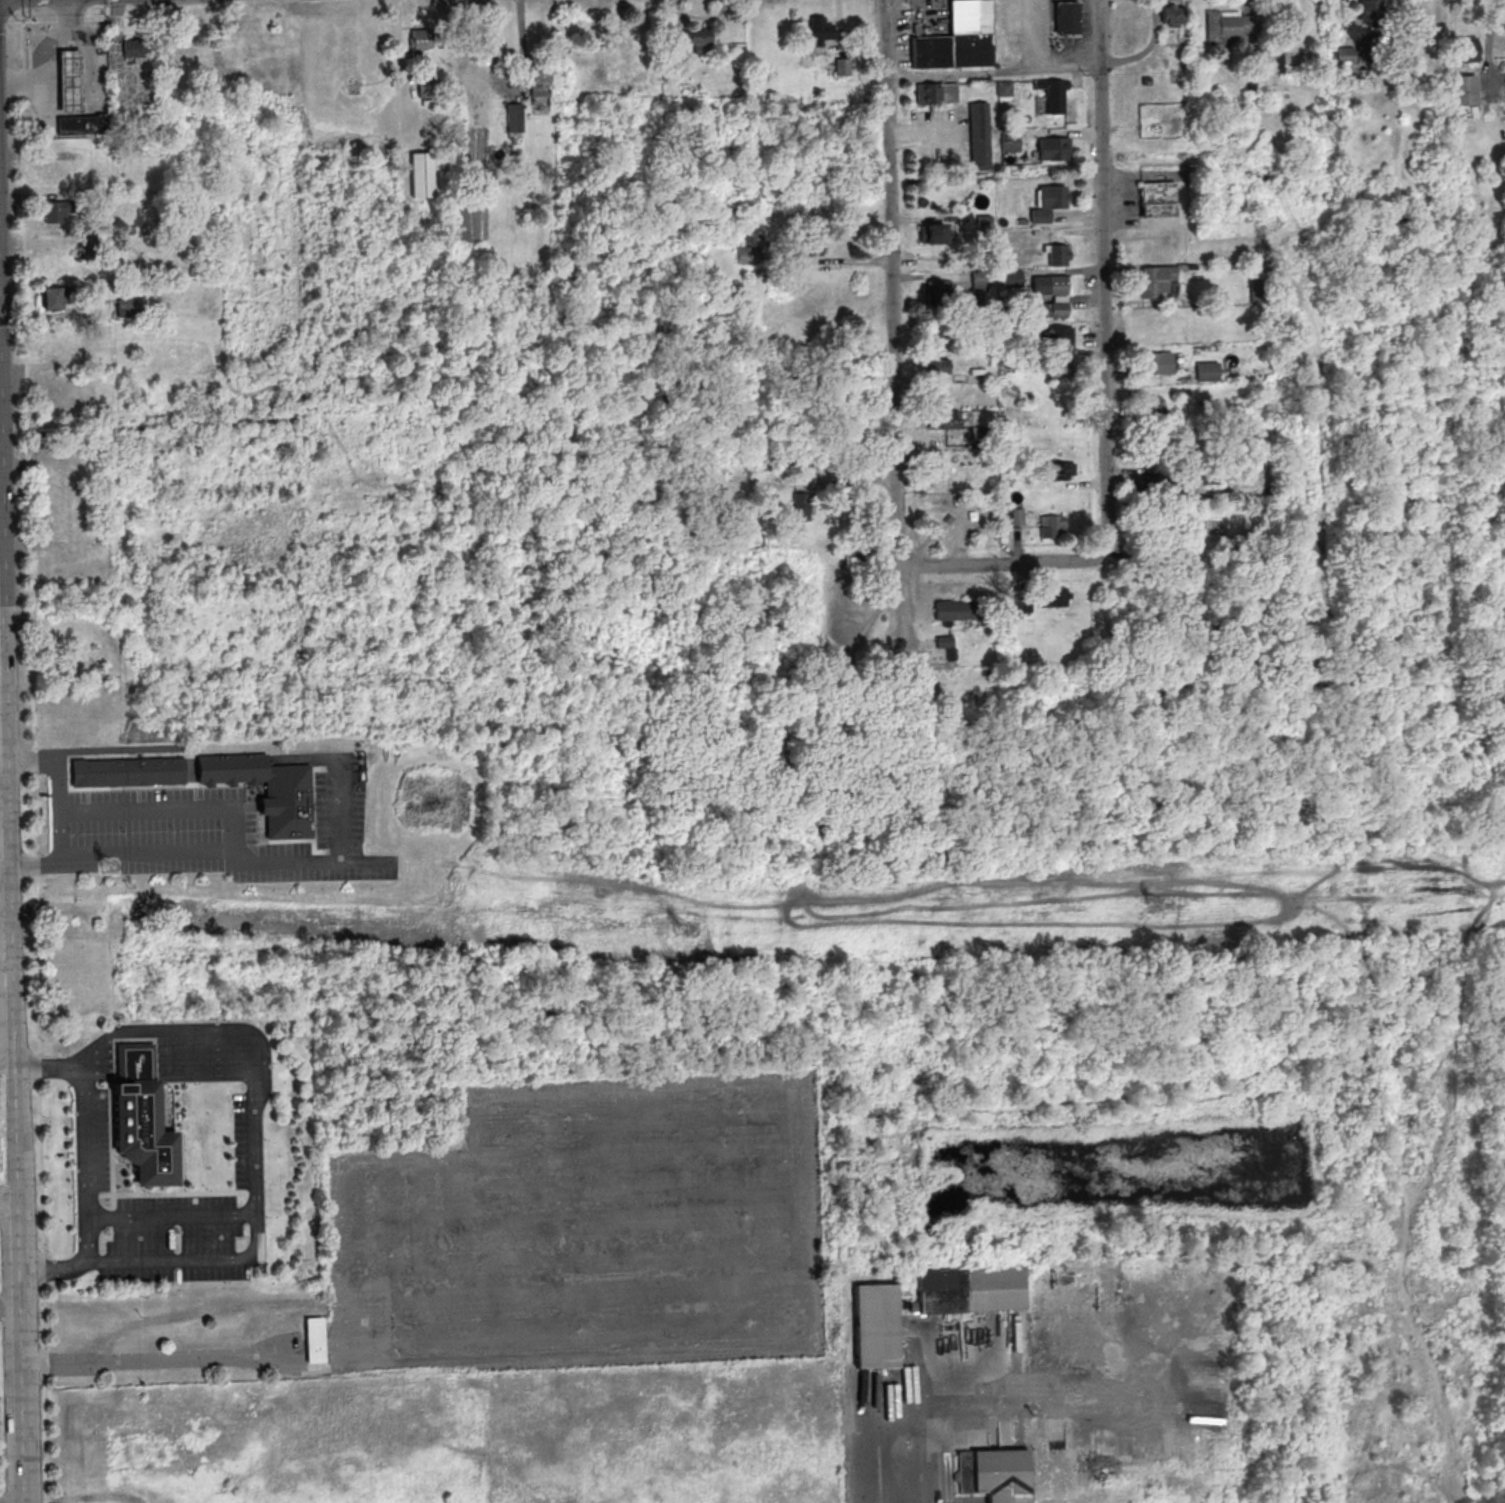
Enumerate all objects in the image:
road: (21, 4)
building: (1369, 10)
road: (11, 12)
building: (1171, 12)
building: (1066, 16)
road: (102, 21)
road: (30, 22)
road: (69, 22)
road: (3, 24)
building: (1227, 27)
building: (818, 30)
building: (691, 37)
building: (958, 39)
building: (419, 41)
road: (1057, 43)
building: (134, 49)
building: (1467, 50)
building: (1345, 55)
road: (47, 56)
building: (1274, 61)
building: (68, 80)
building: (539, 80)
building: (427, 88)
building: (1004, 88)
building: (1462, 91)
building: (936, 92)
building: (1053, 94)
building: (514, 117)
building: (83, 123)
building: (979, 135)
building: (1009, 141)
building: (1054, 148)
building: (53, 170)
building: (421, 174)
building: (1157, 199)
building: (1049, 202)
building: (54, 211)
building: (983, 221)
building: (932, 232)
road: (1323, 242)
building: (810, 247)
building: (1057, 254)
building: (56, 255)
building: (747, 255)
road: (1102, 276)
building: (979, 278)
building: (1013, 278)
building: (1156, 279)
building: (1049, 284)
building: (937, 290)
building: (1259, 290)
building: (52, 297)
building: (127, 307)
building: (1053, 308)
road: (891, 325)
building: (1059, 338)
building: (56, 344)
building: (106, 355)
building: (1157, 363)
building: (937, 365)
building: (1060, 367)
building: (1207, 370)
road: (25, 377)
building: (56, 400)
building: (1152, 406)
building: (944, 419)
building: (1059, 470)
building: (1160, 485)
building: (965, 505)
building: (800, 506)
building: (1017, 515)
building: (941, 525)
building: (1051, 526)
building: (1153, 538)
road: (1001, 562)
building: (1054, 597)
building: (1023, 604)
building: (955, 608)
building: (946, 644)
road: (1303, 684)
road: (839, 749)
road: (36, 760)
building: (126, 770)
road: (1457, 770)
road: (798, 781)
building: (266, 787)
road: (57, 812)
road: (37, 813)
road: (229, 821)
road: (308, 862)
road: (38, 864)
power tower: (109, 864)
road: (1440, 866)
road: (1016, 875)
power tower: (1157, 903)
road: (465, 905)
road: (864, 909)
power tower: (683, 925)
road: (38, 964)
road: (1, 979)
road: (1, 1007)
road: (1, 1036)
road: (39, 1067)
road: (797, 1110)
building: (141, 1115)
road: (15, 1122)
road: (637, 1131)
road: (257, 1137)
road: (86, 1158)
road: (41, 1166)
road: (637, 1166)
road: (10, 1204)
road: (578, 1204)
parking lot: (585, 1228)
road: (579, 1247)
road: (43, 1267)
road: (580, 1276)
building: (971, 1287)
road: (9, 1305)
road: (581, 1310)
building: (875, 1323)
road: (359, 1336)
building: (315, 1339)
road: (189, 1357)
road: (20, 1358)
road: (45, 1393)
road: (924, 1455)
building: (994, 1473)
road: (21, 1498)

